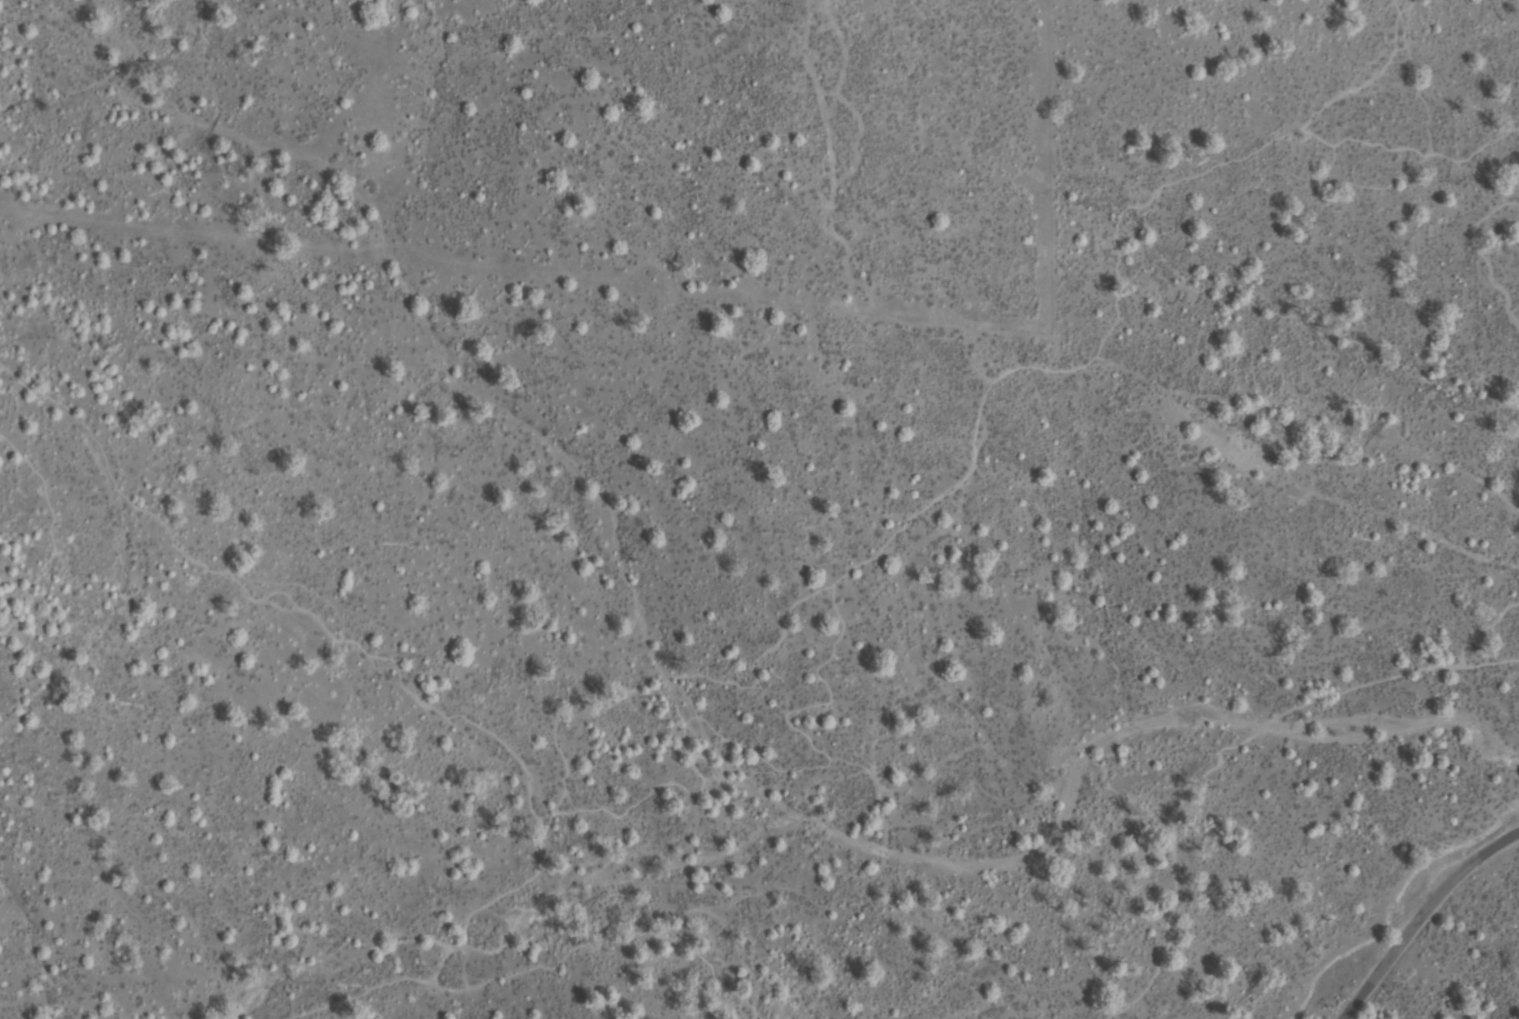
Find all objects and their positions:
road: (49, 546)
road: (1410, 906)
road: (689, 913)

